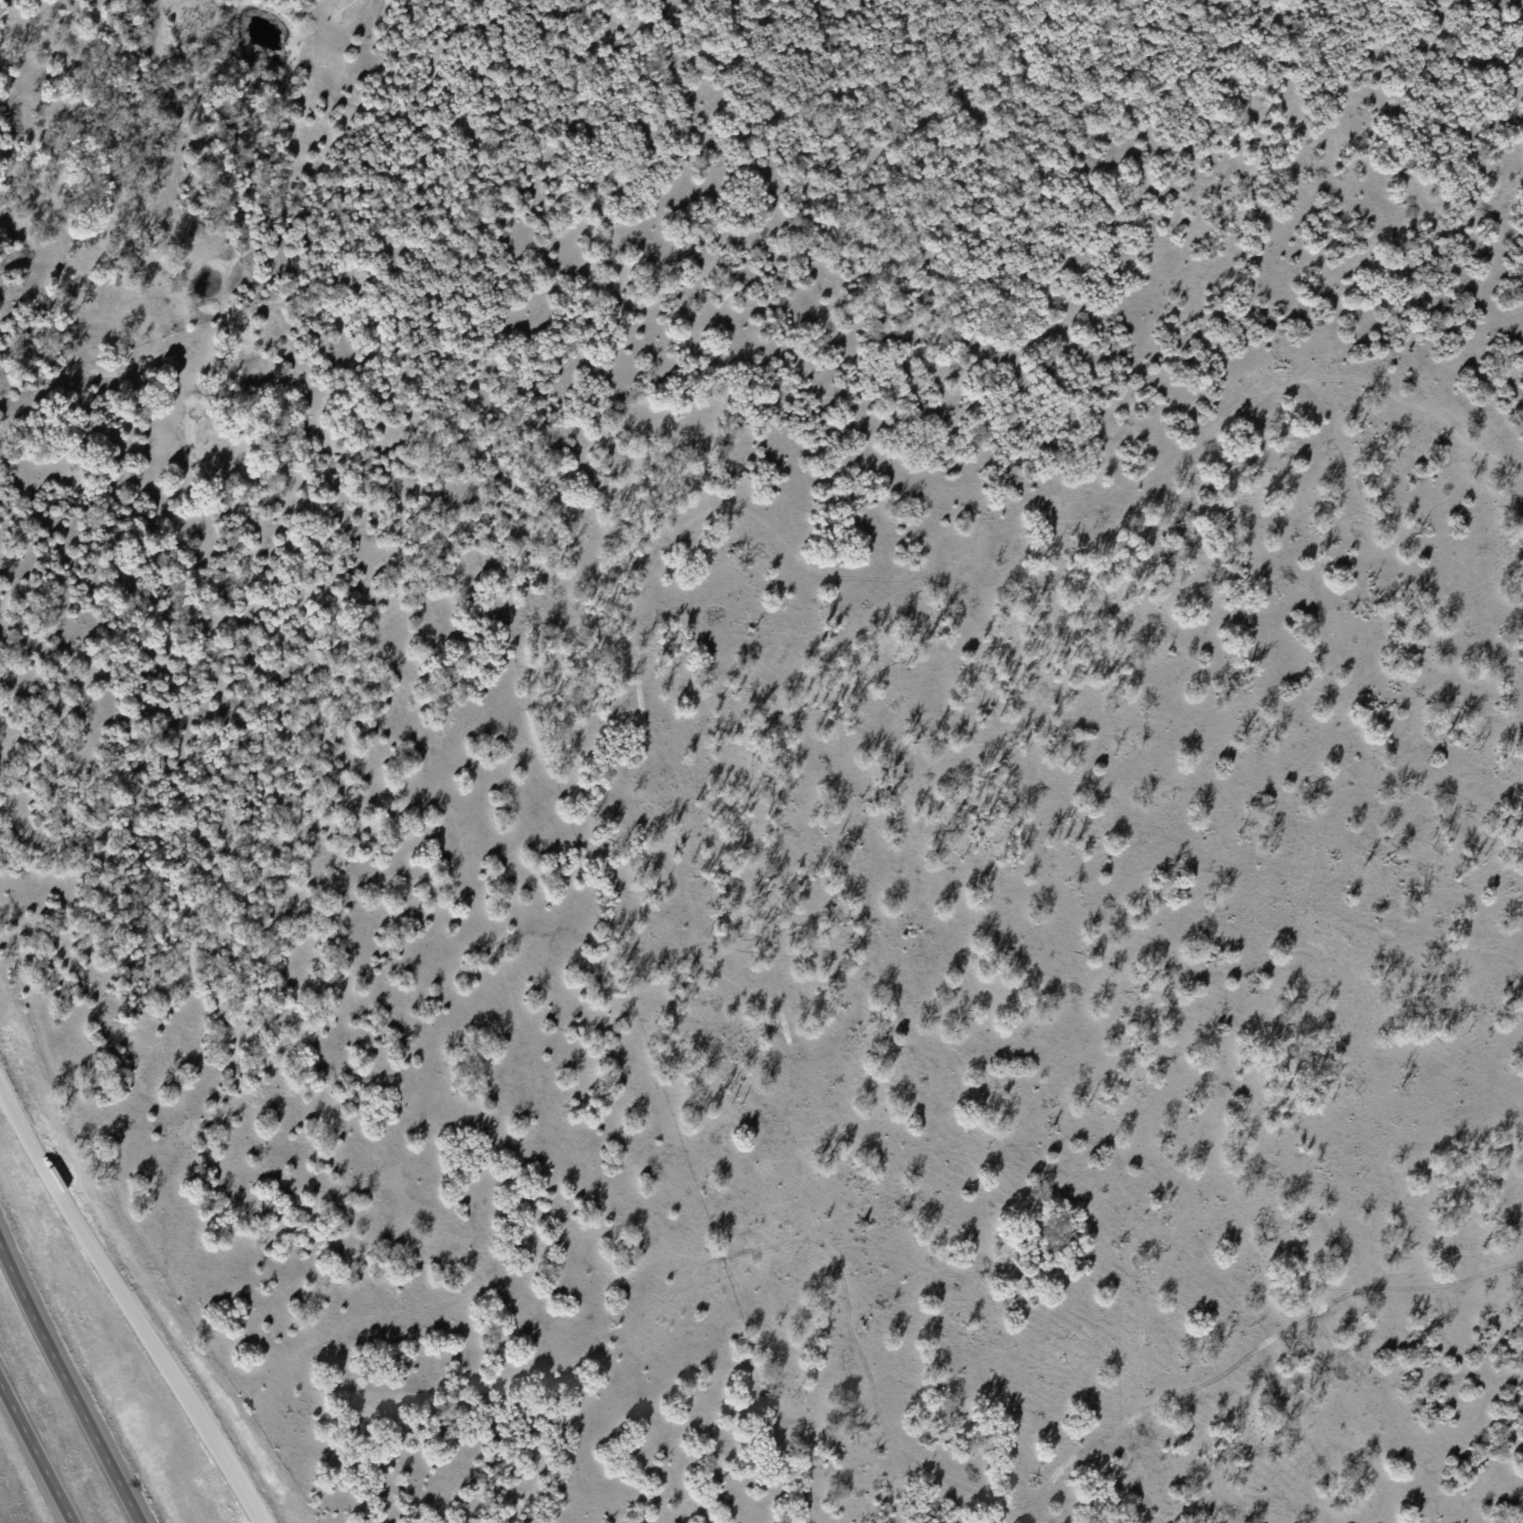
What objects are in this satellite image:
road: (128, 1309)
road: (68, 1385)
road: (36, 1452)

